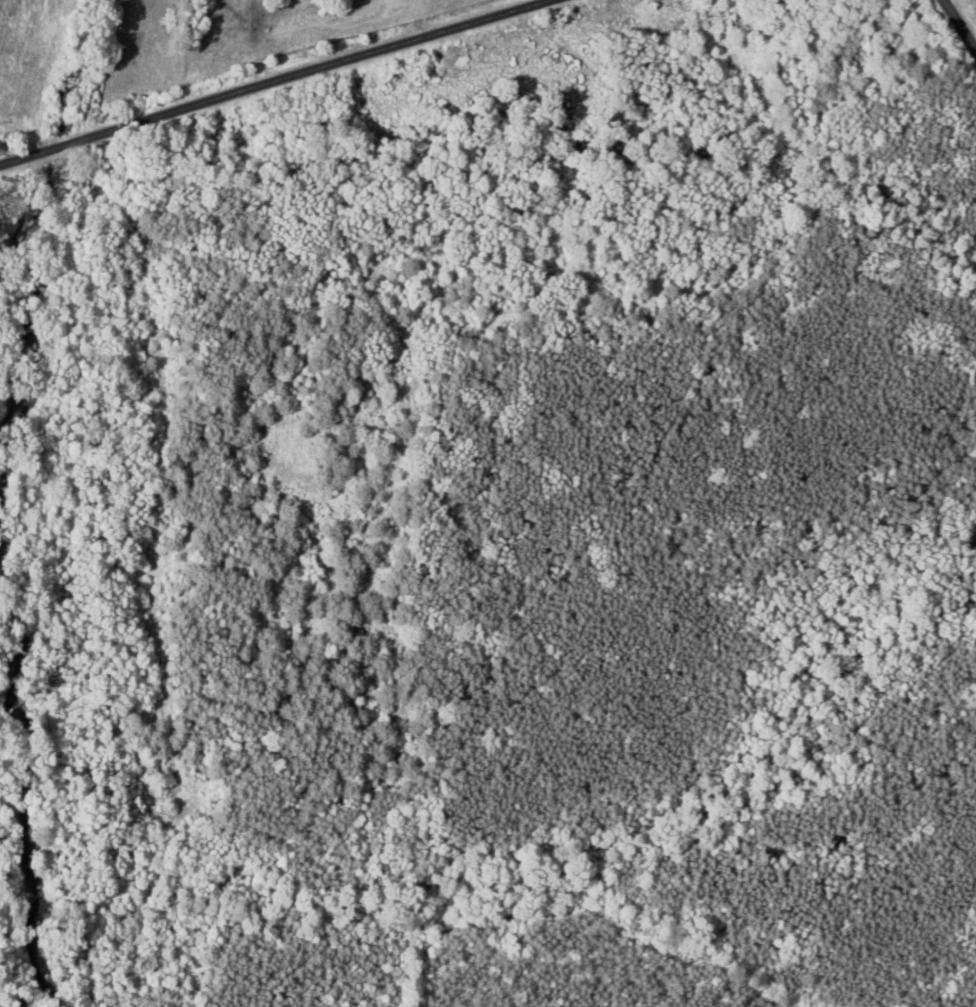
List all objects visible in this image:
road: (960, 24)
road: (274, 82)

